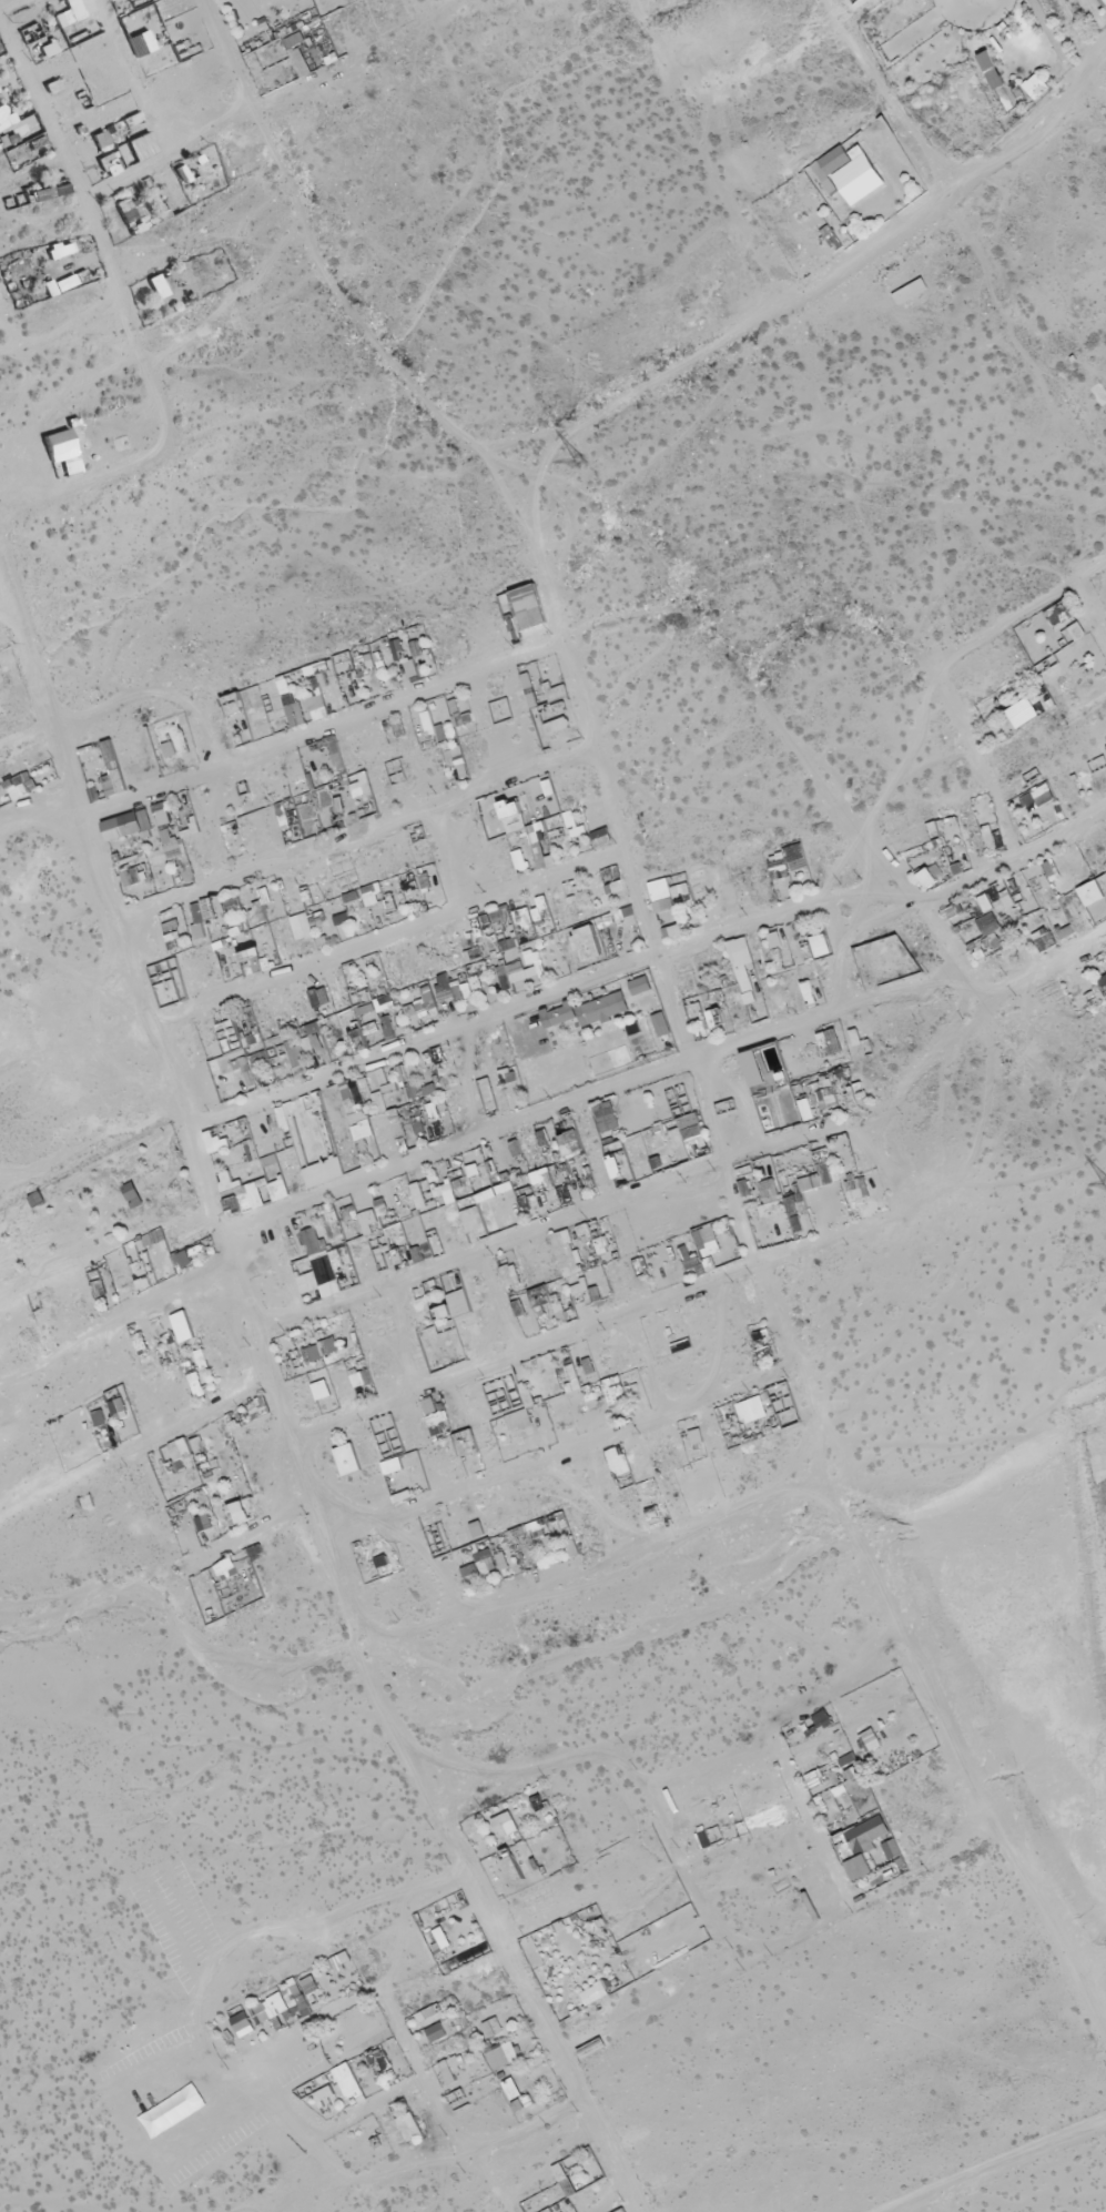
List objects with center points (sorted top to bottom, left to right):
power tower: (576, 461)
power tower: (1104, 1182)

